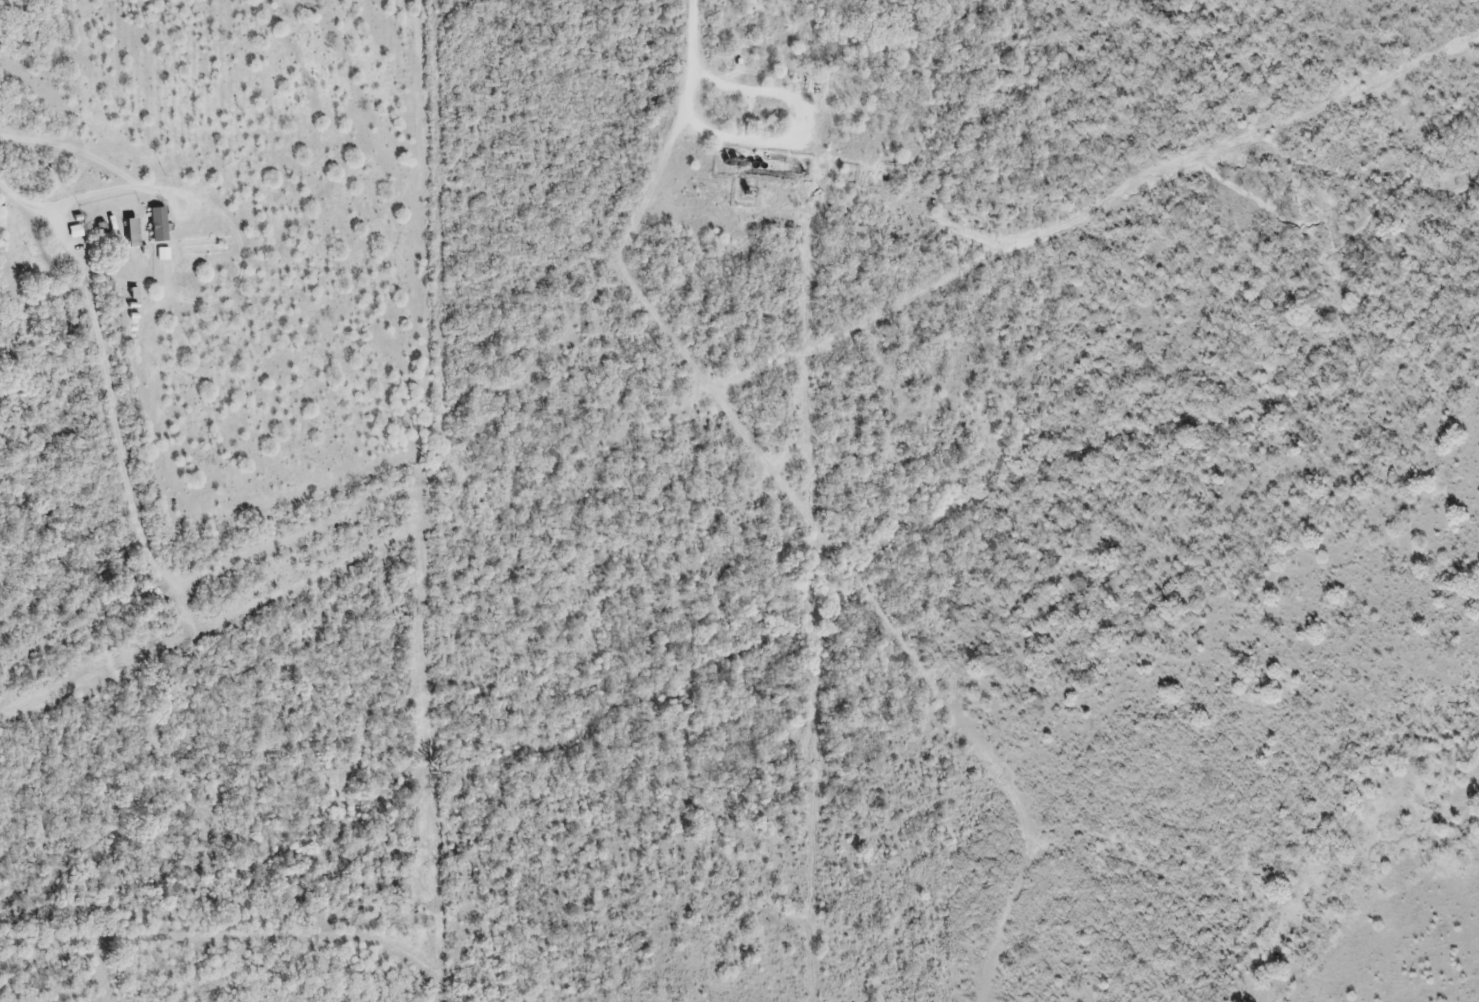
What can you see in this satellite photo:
road: (695, 34)
road: (795, 136)
road: (62, 205)
building: (130, 235)

